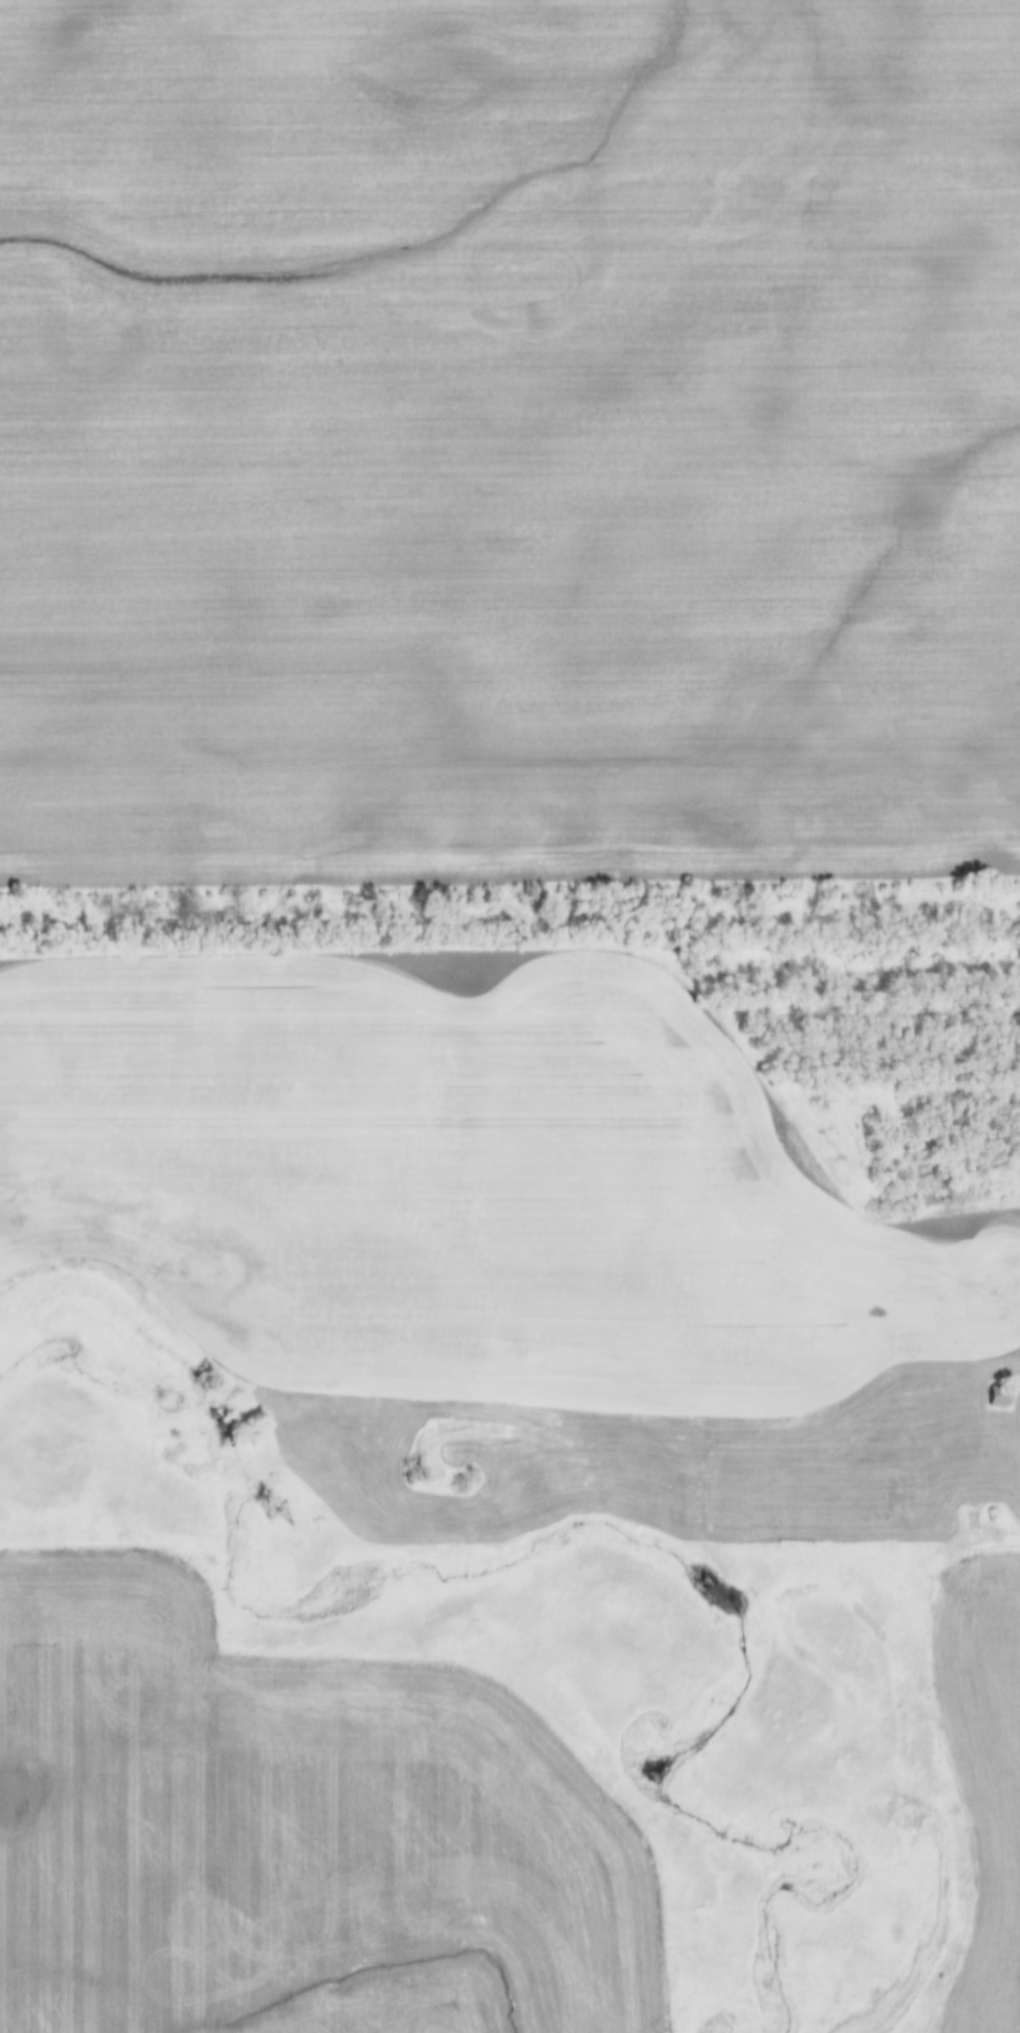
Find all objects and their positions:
building: (897, 1367)
building: (993, 1397)

